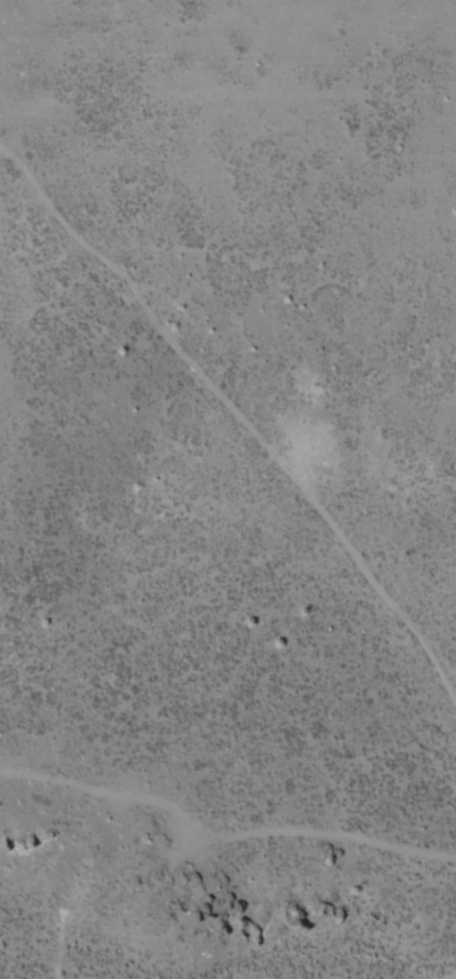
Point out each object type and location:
road: (451, 975)

